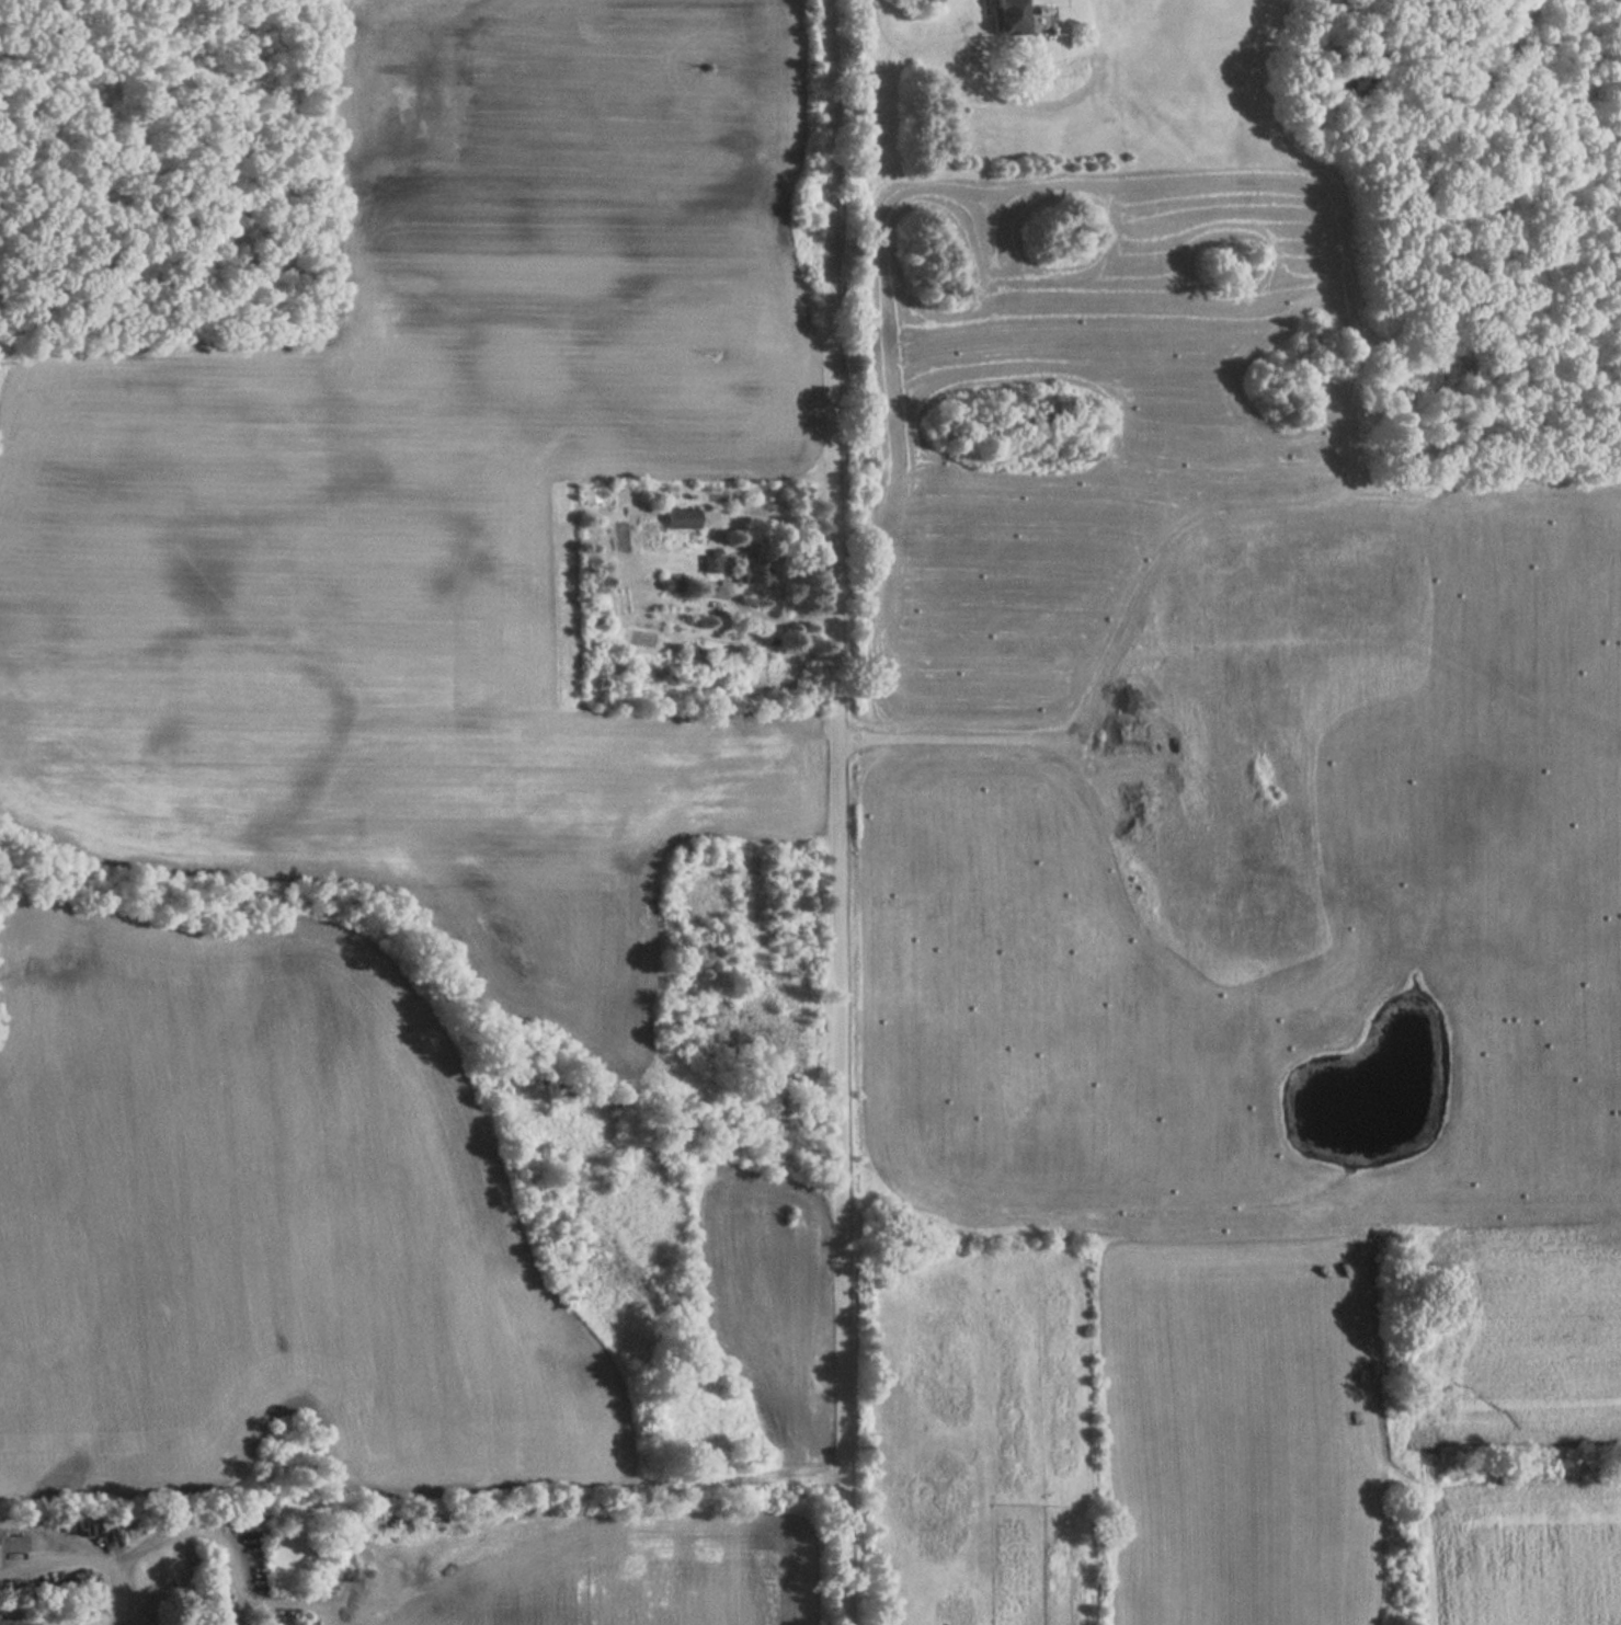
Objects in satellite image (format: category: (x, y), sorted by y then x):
building: (1009, 16)
building: (682, 518)
building: (710, 564)
building: (755, 572)
road: (838, 812)
building: (11, 1543)
road: (85, 1556)

